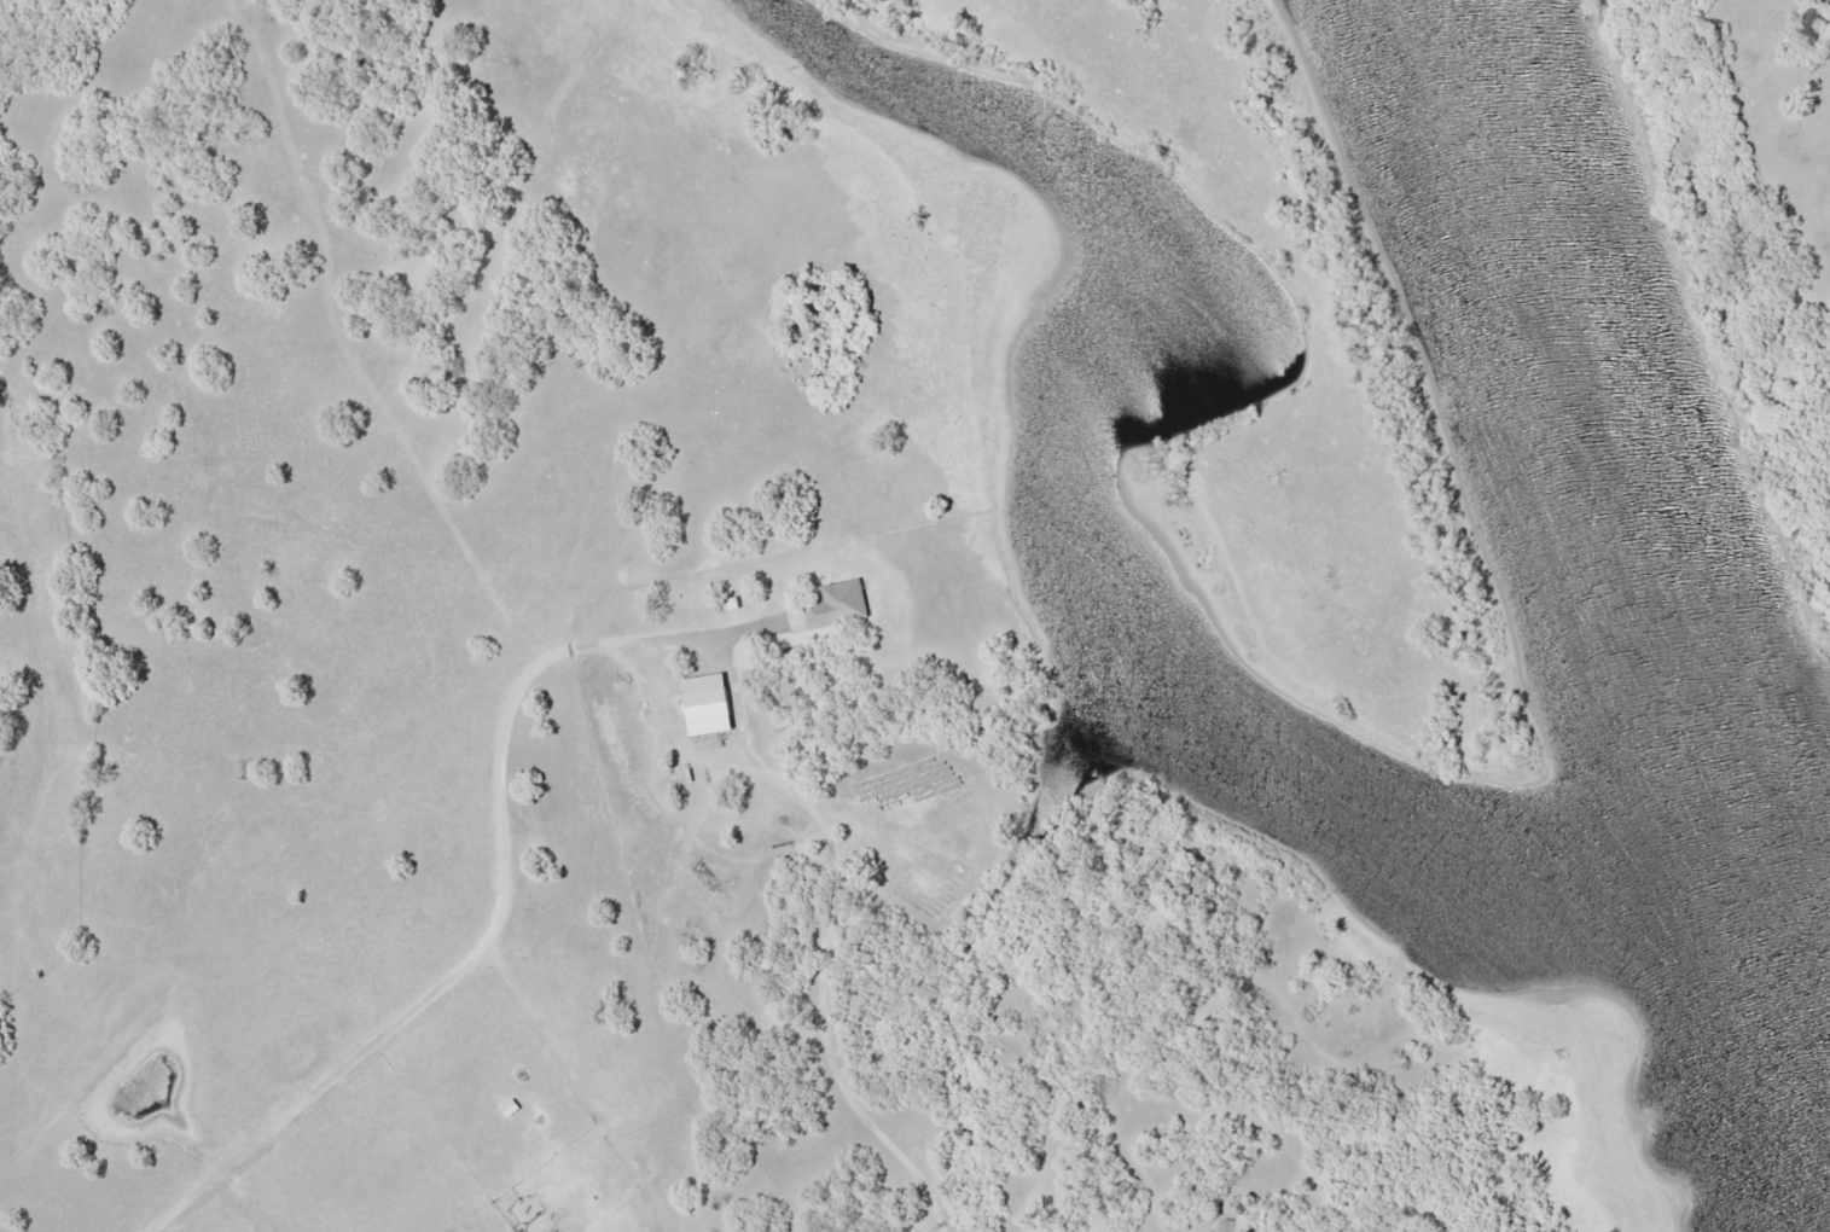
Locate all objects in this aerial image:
building: (1817, 19)
river: (1627, 476)
building: (843, 605)
building: (711, 703)
road: (463, 971)

